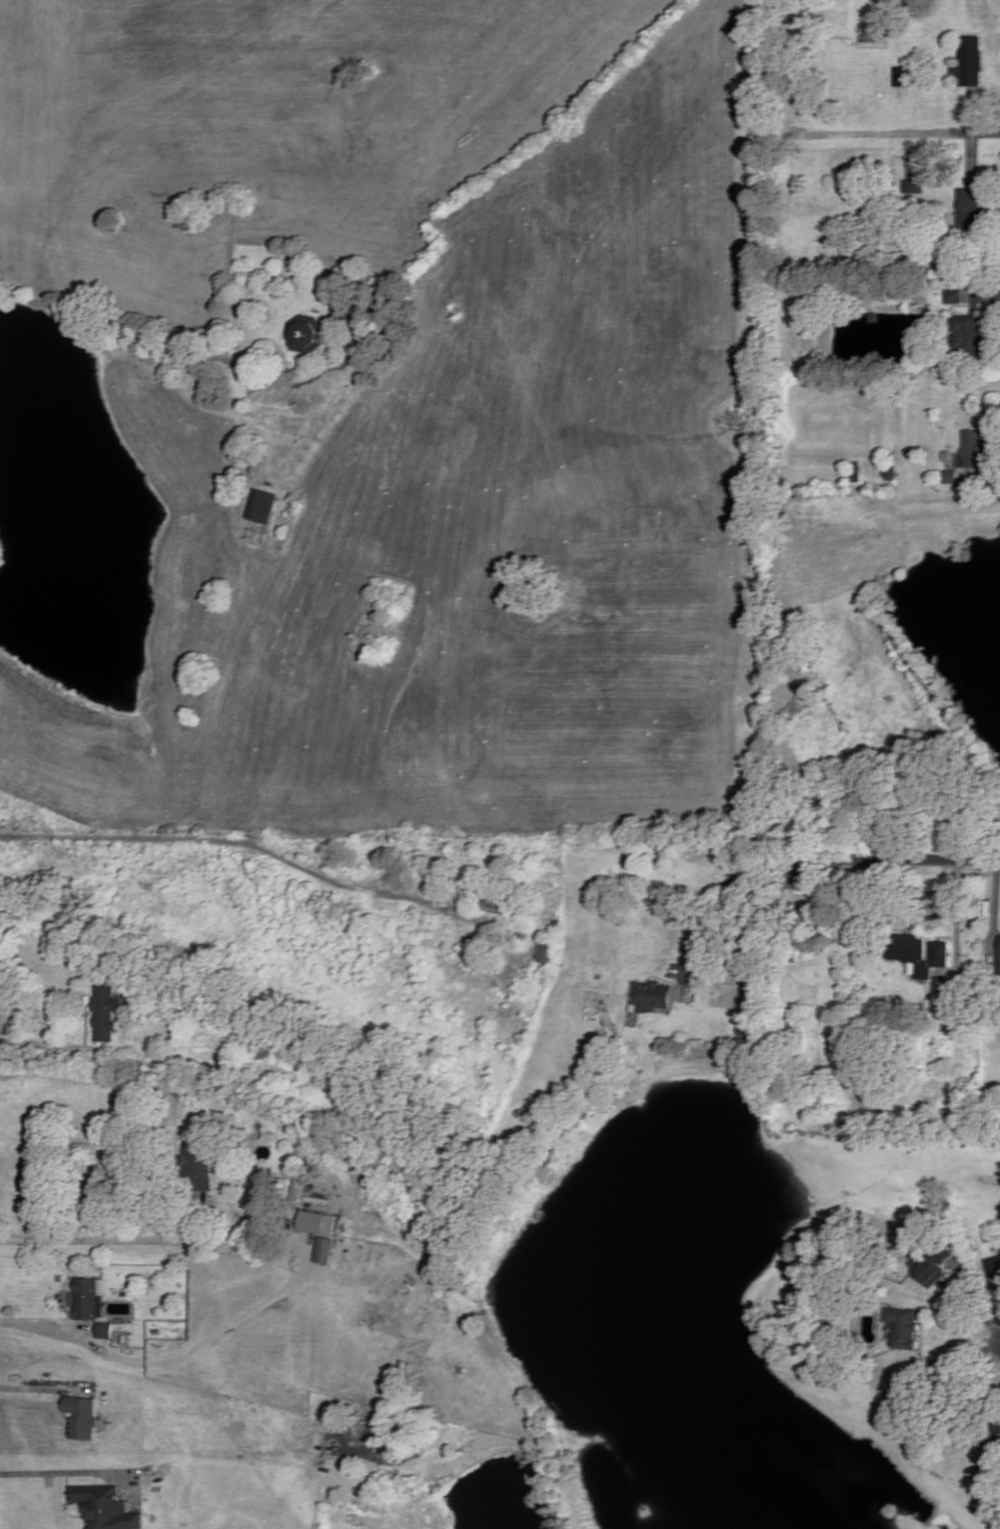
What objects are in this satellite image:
building: (971, 58)
building: (904, 73)
road: (975, 107)
road: (975, 129)
road: (874, 130)
road: (910, 148)
road: (974, 154)
building: (914, 185)
building: (972, 201)
road: (989, 291)
building: (956, 293)
building: (308, 331)
building: (970, 332)
building: (971, 454)
building: (893, 463)
building: (856, 469)
building: (261, 504)
road: (228, 840)
road: (900, 857)
road: (727, 879)
road: (995, 906)
road: (958, 925)
building: (918, 950)
building: (546, 951)
building: (651, 993)
building: (105, 1010)
road: (32, 1042)
building: (198, 1168)
building: (321, 1229)
road: (99, 1235)
building: (931, 1260)
building: (993, 1264)
building: (87, 1298)
road: (974, 1298)
building: (904, 1323)
building: (104, 1329)
road: (69, 1334)
road: (967, 1356)
road: (33, 1387)
building: (81, 1415)
road: (51, 1471)
building: (104, 1507)

